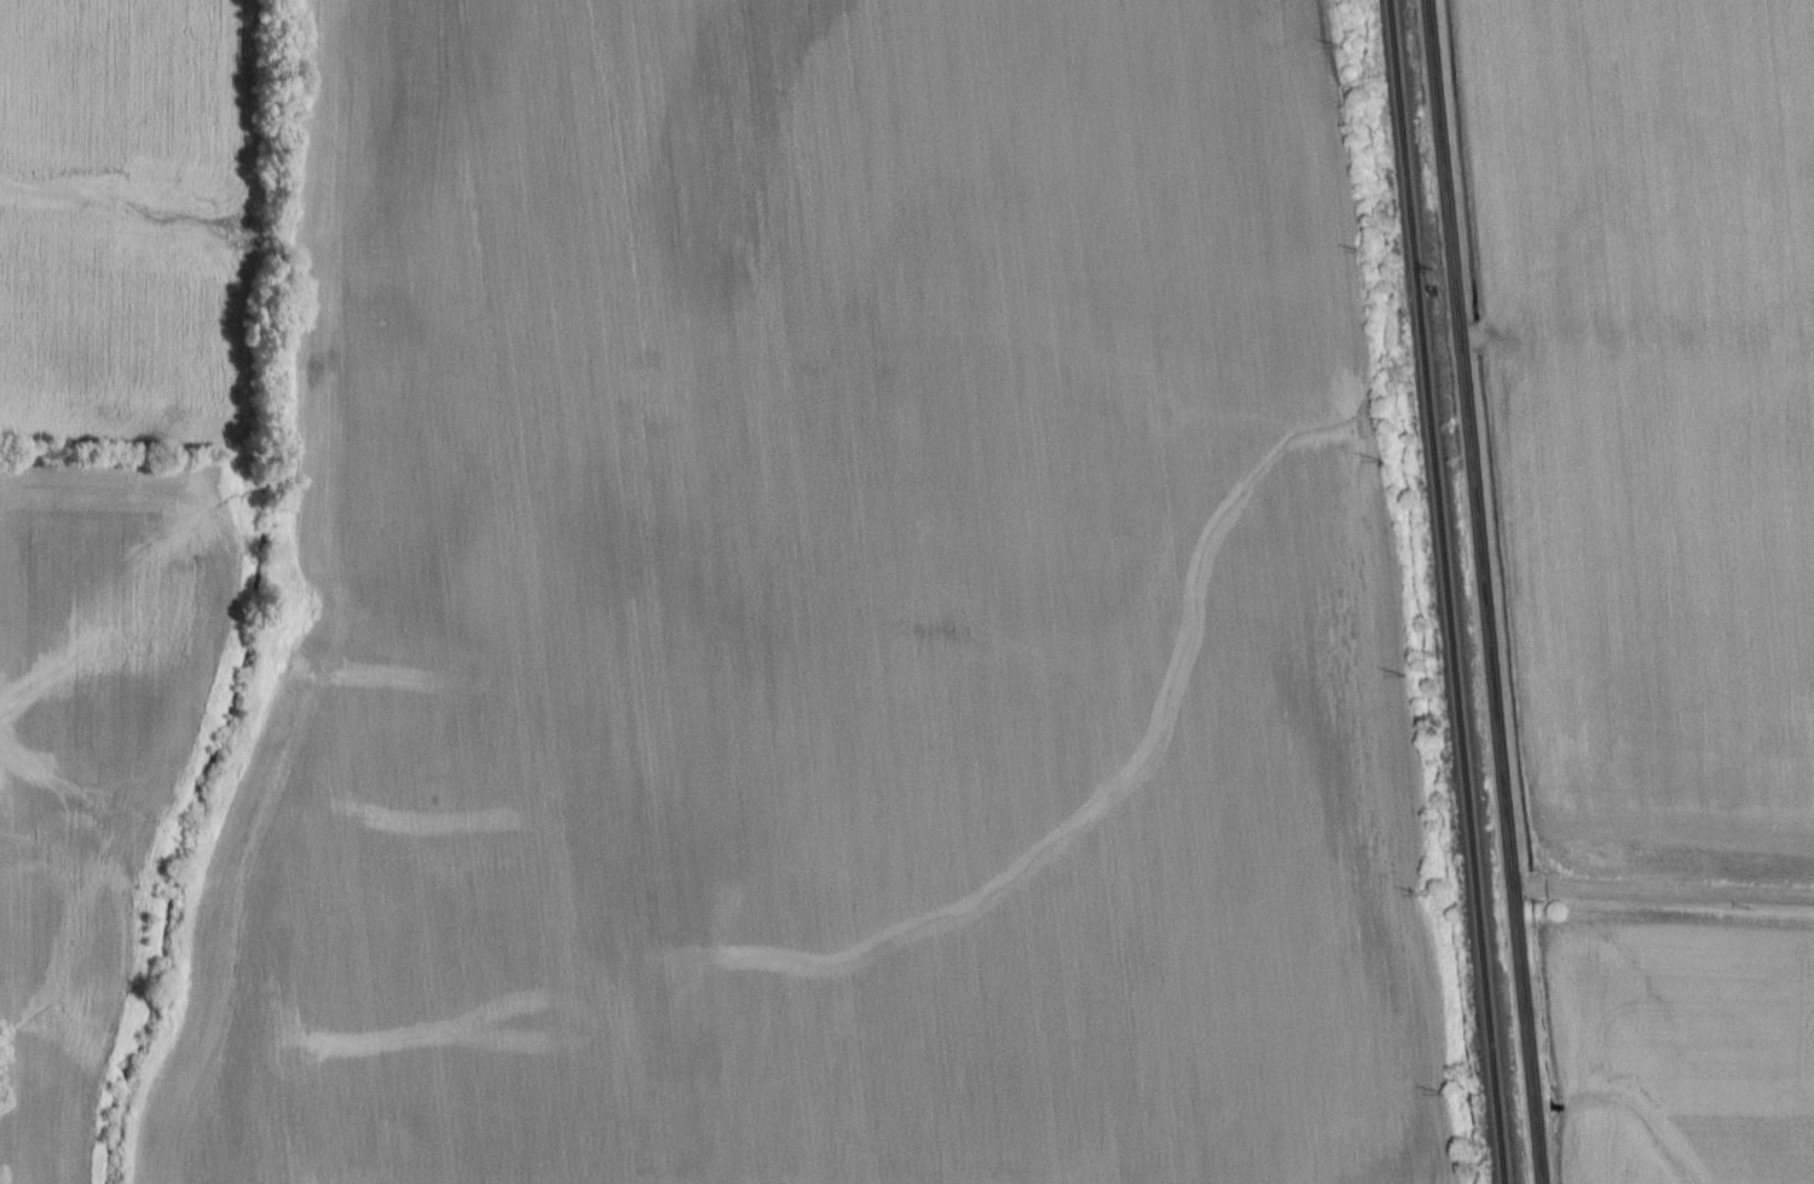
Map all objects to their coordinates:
railway: (1446, 591)
road: (1490, 591)
road: (1666, 895)

